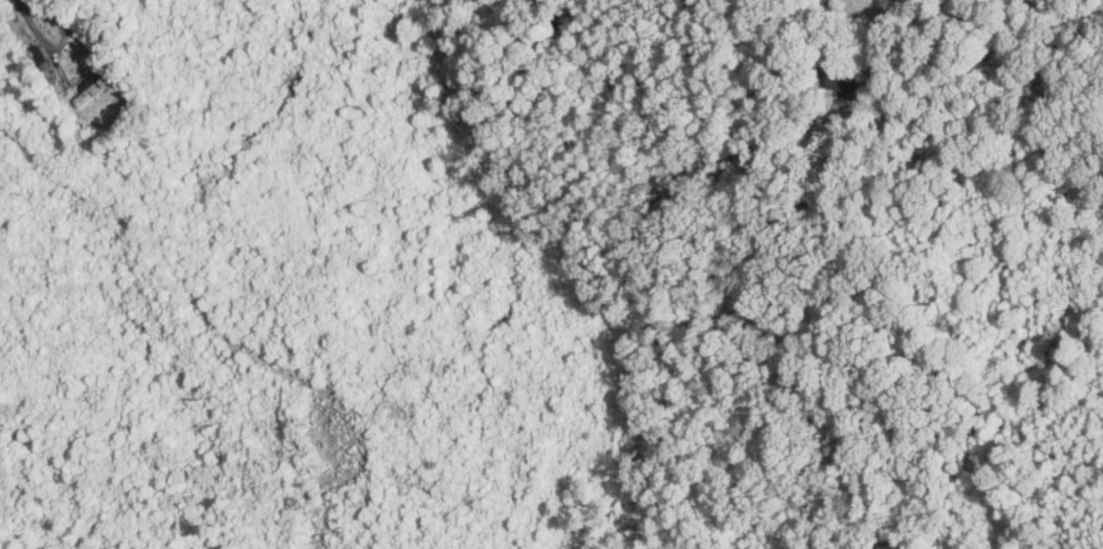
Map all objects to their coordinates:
road: (24, 1)
road: (828, 22)
road: (61, 41)

